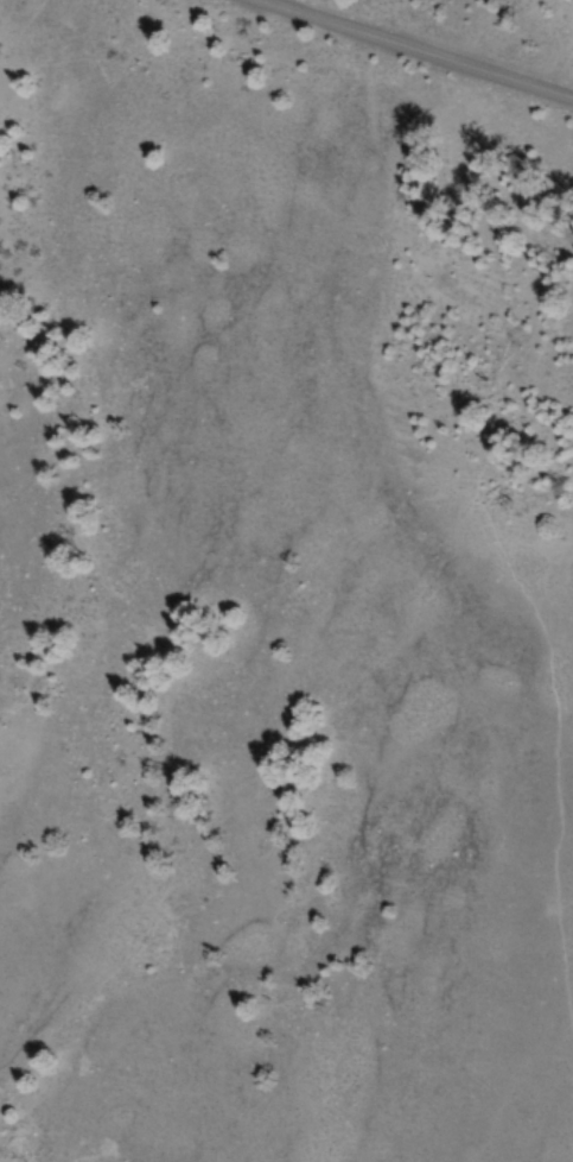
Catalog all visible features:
road: (418, 48)

